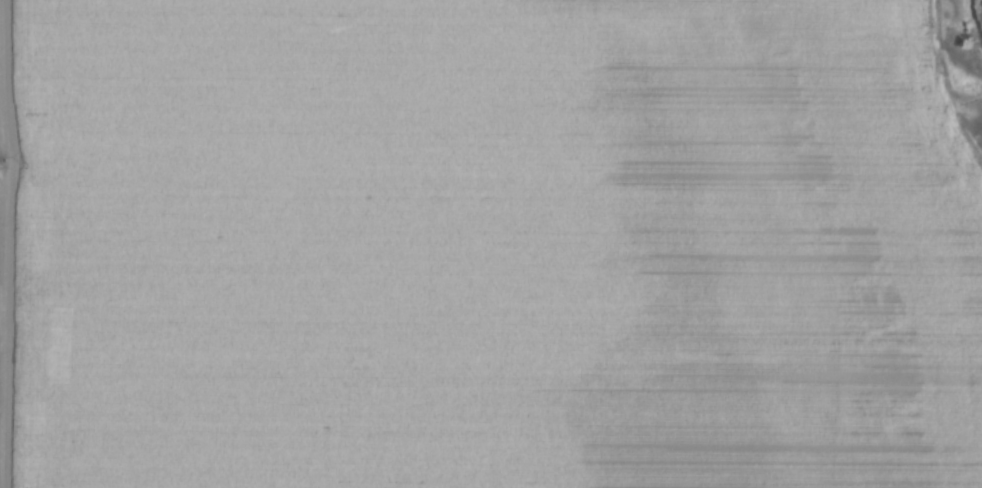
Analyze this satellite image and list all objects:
crop: (484, 246)

